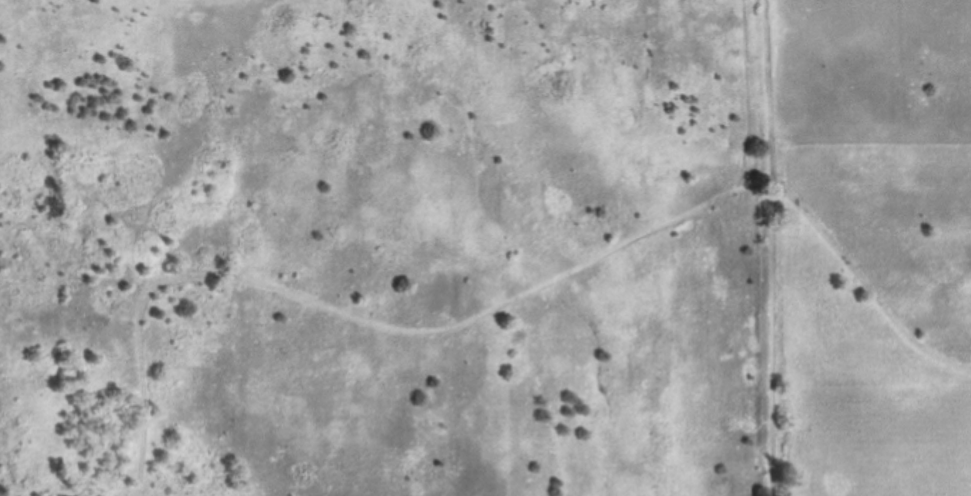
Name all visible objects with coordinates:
road: (765, 89)
park: (485, 248)
road: (862, 283)
road: (371, 319)
road: (771, 337)

